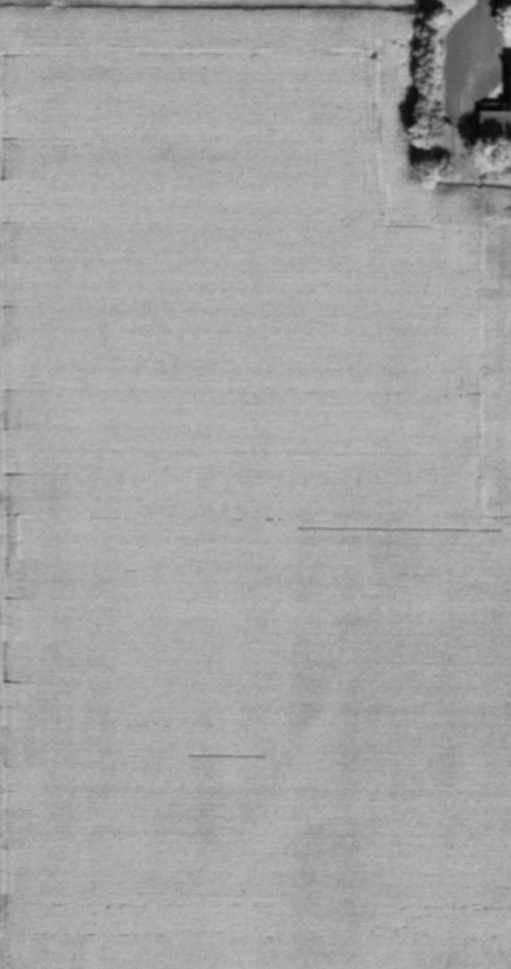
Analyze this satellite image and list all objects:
building: (496, 121)
building: (440, 143)

